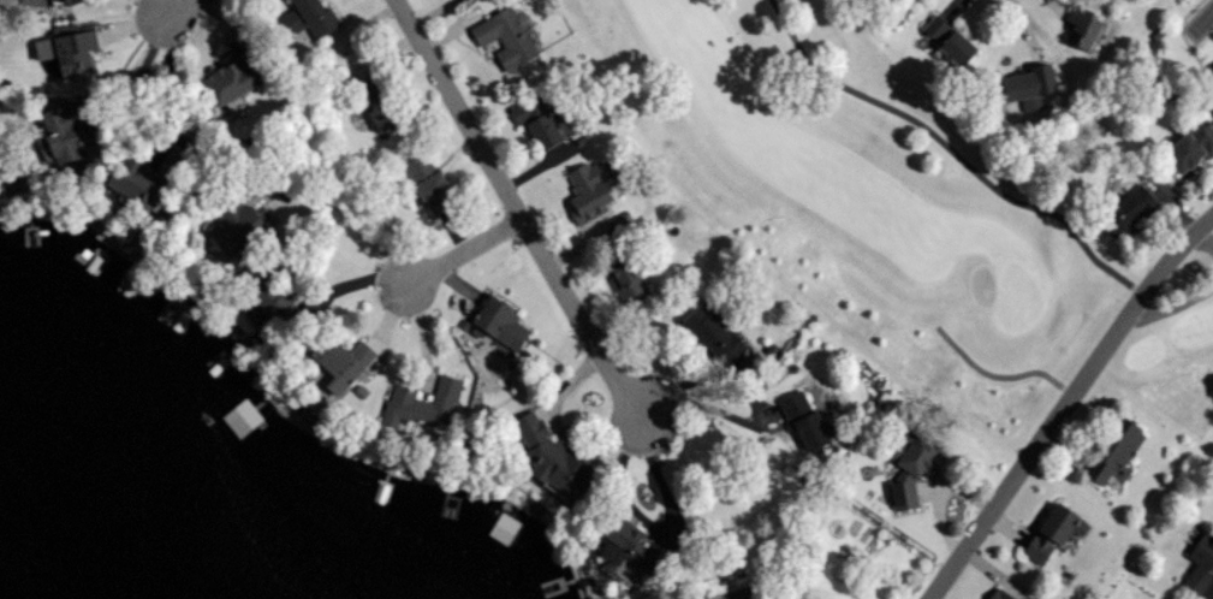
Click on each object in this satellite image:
building: (902, 0)
building: (64, 1)
road: (178, 7)
building: (311, 17)
building: (1084, 26)
building: (505, 36)
building: (950, 40)
building: (69, 49)
building: (231, 78)
building: (1029, 81)
road: (137, 82)
building: (369, 85)
building: (382, 111)
building: (545, 117)
building: (67, 132)
building: (1190, 146)
building: (144, 179)
building: (429, 183)
building: (596, 185)
park: (969, 202)
road: (516, 209)
building: (1129, 209)
road: (349, 218)
building: (237, 225)
road: (1205, 241)
road: (466, 251)
road: (1094, 255)
building: (629, 273)
building: (269, 295)
road: (1175, 307)
building: (499, 320)
building: (715, 333)
building: (345, 362)
road: (997, 374)
building: (422, 403)
road: (1066, 403)
road: (713, 410)
building: (804, 420)
building: (1112, 450)
building: (552, 457)
building: (910, 470)
building: (504, 527)
building: (1053, 530)
building: (630, 544)
building: (1200, 564)
building: (1001, 594)

